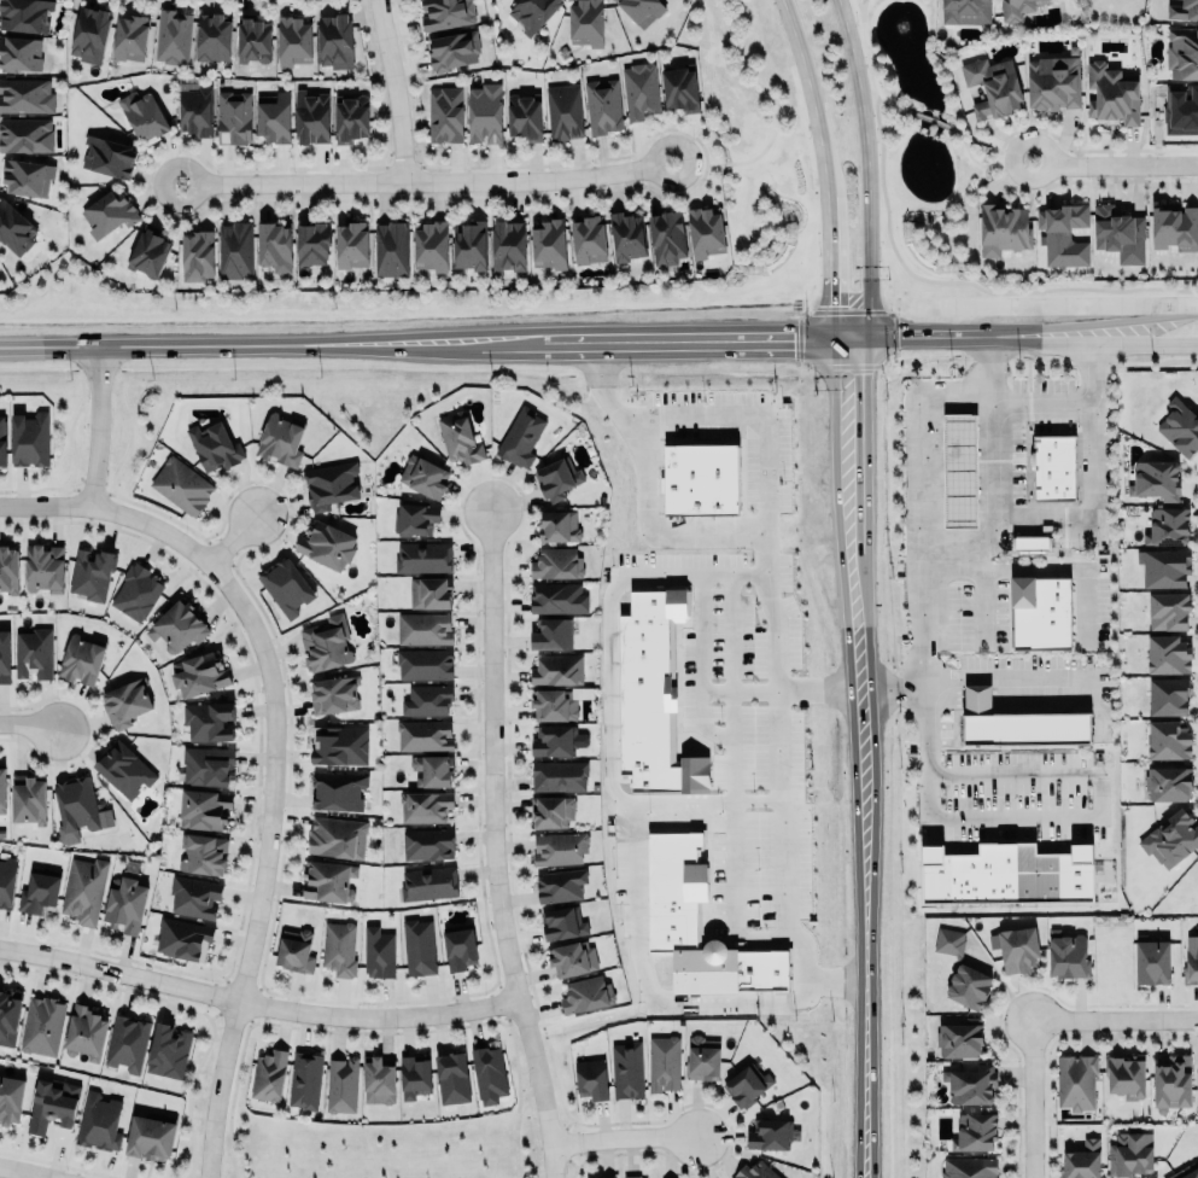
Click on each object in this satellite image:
building: (641, 10)
road: (864, 10)
building: (1019, 10)
building: (1185, 10)
building: (445, 12)
building: (532, 12)
building: (966, 12)
building: (24, 14)
building: (584, 21)
building: (89, 34)
building: (173, 35)
building: (132, 37)
building: (215, 37)
building: (252, 39)
building: (293, 40)
building: (335, 41)
building: (452, 51)
building: (1182, 53)
building: (18, 54)
road: (871, 64)
building: (1054, 81)
building: (994, 86)
road: (388, 88)
building: (679, 88)
building: (639, 91)
building: (25, 95)
building: (1111, 95)
road: (811, 97)
building: (602, 105)
building: (1181, 110)
building: (197, 111)
building: (563, 111)
building: (310, 113)
building: (484, 113)
building: (445, 115)
road: (775, 115)
building: (142, 116)
building: (525, 116)
building: (274, 117)
building: (234, 118)
road: (929, 118)
building: (352, 119)
building: (25, 134)
road: (1042, 141)
building: (109, 156)
road: (974, 158)
road: (1123, 164)
road: (870, 170)
road: (416, 175)
building: (28, 176)
building: (109, 212)
building: (1000, 224)
building: (1175, 227)
building: (14, 229)
building: (1062, 231)
building: (705, 233)
building: (627, 235)
building: (1120, 235)
building: (666, 238)
building: (588, 239)
building: (314, 243)
building: (469, 244)
building: (548, 244)
building: (351, 245)
building: (432, 246)
building: (508, 246)
building: (275, 247)
building: (391, 249)
building: (235, 250)
building: (150, 252)
building: (198, 256)
road: (829, 269)
road: (1094, 323)
road: (918, 336)
traffic signals: (847, 337)
road: (696, 338)
road: (1074, 339)
road: (1177, 343)
road: (273, 345)
road: (990, 395)
building: (1180, 424)
road: (994, 425)
road: (744, 428)
road: (98, 430)
building: (458, 436)
building: (520, 437)
building: (280, 438)
building: (30, 439)
building: (2, 441)
road: (852, 443)
building: (214, 447)
building: (1054, 465)
building: (959, 470)
gas station: (959, 470)
building: (423, 473)
building: (701, 473)
building: (555, 477)
road: (923, 477)
building: (1155, 477)
building: (331, 483)
building: (181, 484)
road: (1099, 508)
road: (46, 511)
building: (415, 517)
building: (557, 524)
building: (1167, 524)
road: (719, 533)
road: (223, 537)
building: (1033, 542)
building: (326, 543)
building: (422, 555)
building: (556, 561)
building: (1164, 565)
building: (43, 566)
building: (8, 567)
building: (90, 573)
road: (981, 578)
building: (285, 585)
building: (136, 590)
building: (429, 593)
building: (557, 597)
building: (1040, 606)
building: (1168, 608)
road: (859, 619)
building: (176, 625)
building: (423, 626)
building: (550, 631)
building: (325, 645)
building: (33, 652)
building: (1167, 653)
building: (4, 655)
building: (81, 657)
building: (425, 664)
building: (556, 670)
building: (199, 673)
road: (976, 675)
building: (333, 692)
building: (651, 693)
building: (1168, 696)
building: (427, 698)
building: (124, 700)
building: (553, 705)
building: (208, 719)
road: (24, 721)
building: (1027, 728)
building: (423, 733)
building: (1168, 739)
building: (556, 740)
building: (339, 745)
road: (924, 750)
building: (208, 766)
building: (123, 768)
building: (432, 768)
building: (559, 776)
building: (1168, 782)
building: (338, 789)
building: (1, 791)
road: (1103, 794)
building: (28, 799)
road: (621, 800)
road: (701, 801)
road: (270, 803)
building: (425, 806)
building: (81, 809)
building: (204, 809)
building: (551, 809)
building: (337, 835)
building: (1169, 836)
building: (427, 844)
building: (559, 847)
road: (492, 850)
building: (203, 852)
road: (782, 869)
building: (1009, 873)
building: (328, 879)
building: (6, 881)
building: (429, 882)
building: (559, 884)
building: (83, 888)
building: (39, 893)
building: (193, 894)
building: (123, 905)
building: (672, 920)
building: (561, 921)
road: (866, 933)
building: (182, 937)
building: (948, 941)
building: (339, 946)
building: (417, 946)
building: (460, 946)
building: (1015, 946)
building: (296, 949)
building: (378, 952)
building: (1066, 954)
building: (571, 957)
building: (1191, 958)
building: (1151, 962)
building: (968, 986)
building: (585, 993)
road: (255, 1002)
building: (10, 1013)
road: (1114, 1017)
building: (42, 1024)
building: (84, 1032)
building: (958, 1038)
building: (125, 1040)
building: (166, 1049)
building: (702, 1059)
building: (664, 1062)
building: (626, 1069)
building: (268, 1073)
building: (414, 1074)
building: (489, 1074)
building: (1126, 1077)
building: (451, 1078)
building: (590, 1078)
building: (305, 1079)
building: (378, 1080)
building: (1075, 1080)
building: (1170, 1081)
building: (970, 1083)
building: (341, 1085)
building: (746, 1085)
road: (1029, 1097)
building: (8, 1100)
building: (49, 1101)
building: (98, 1120)
building: (975, 1130)
building: (769, 1132)
road: (620, 1133)
building: (150, 1135)
building: (1129, 1151)
building: (1082, 1160)
building: (969, 1167)
building: (754, 1171)
building: (1184, 1172)
road: (10, 1174)
building: (631, 1176)

